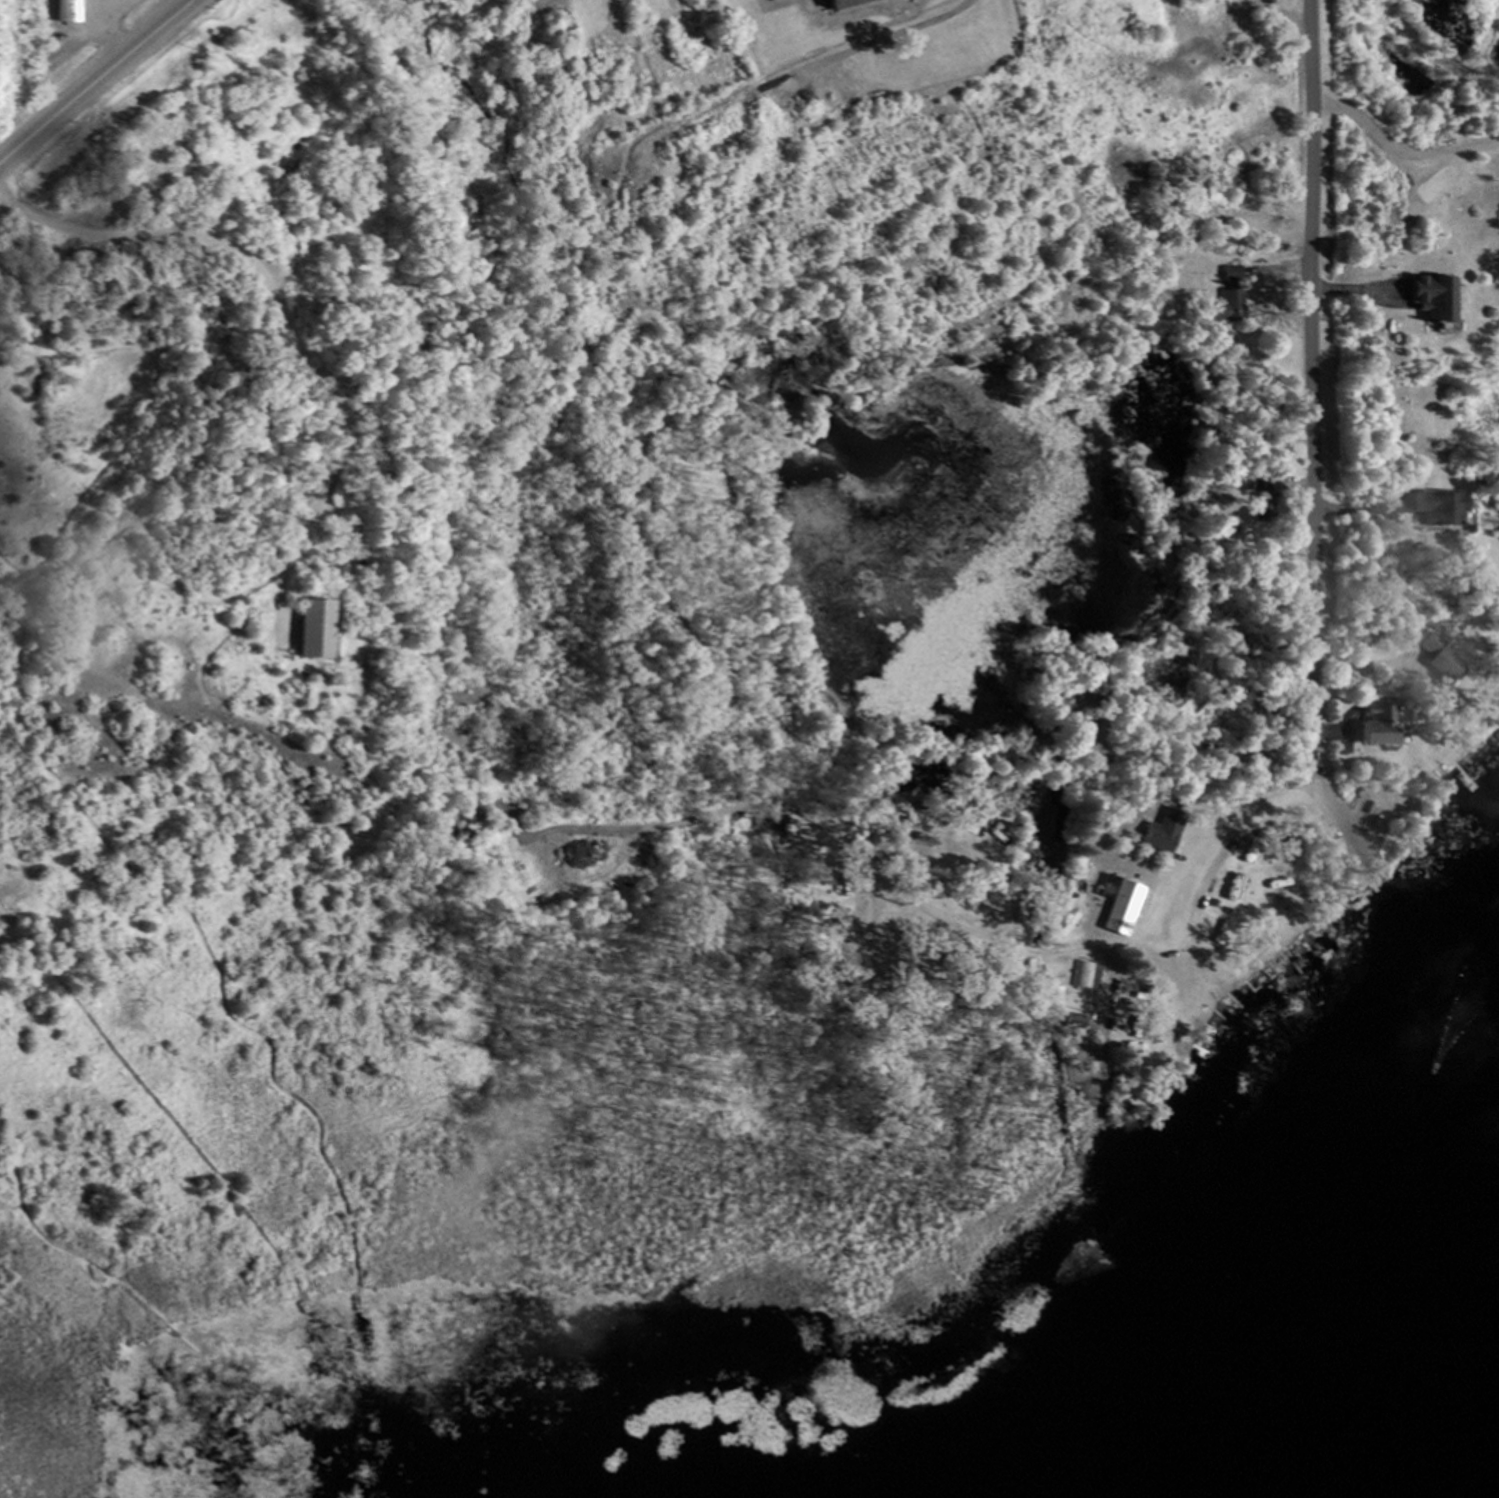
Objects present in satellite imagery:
building: (839, 3)
building: (68, 10)
road: (99, 82)
building: (1428, 299)
building: (1226, 301)
building: (1437, 510)
building: (1259, 511)
road: (1311, 516)
building: (1437, 657)
building: (1375, 727)
building: (1158, 834)
building: (1119, 908)
building: (1087, 976)

